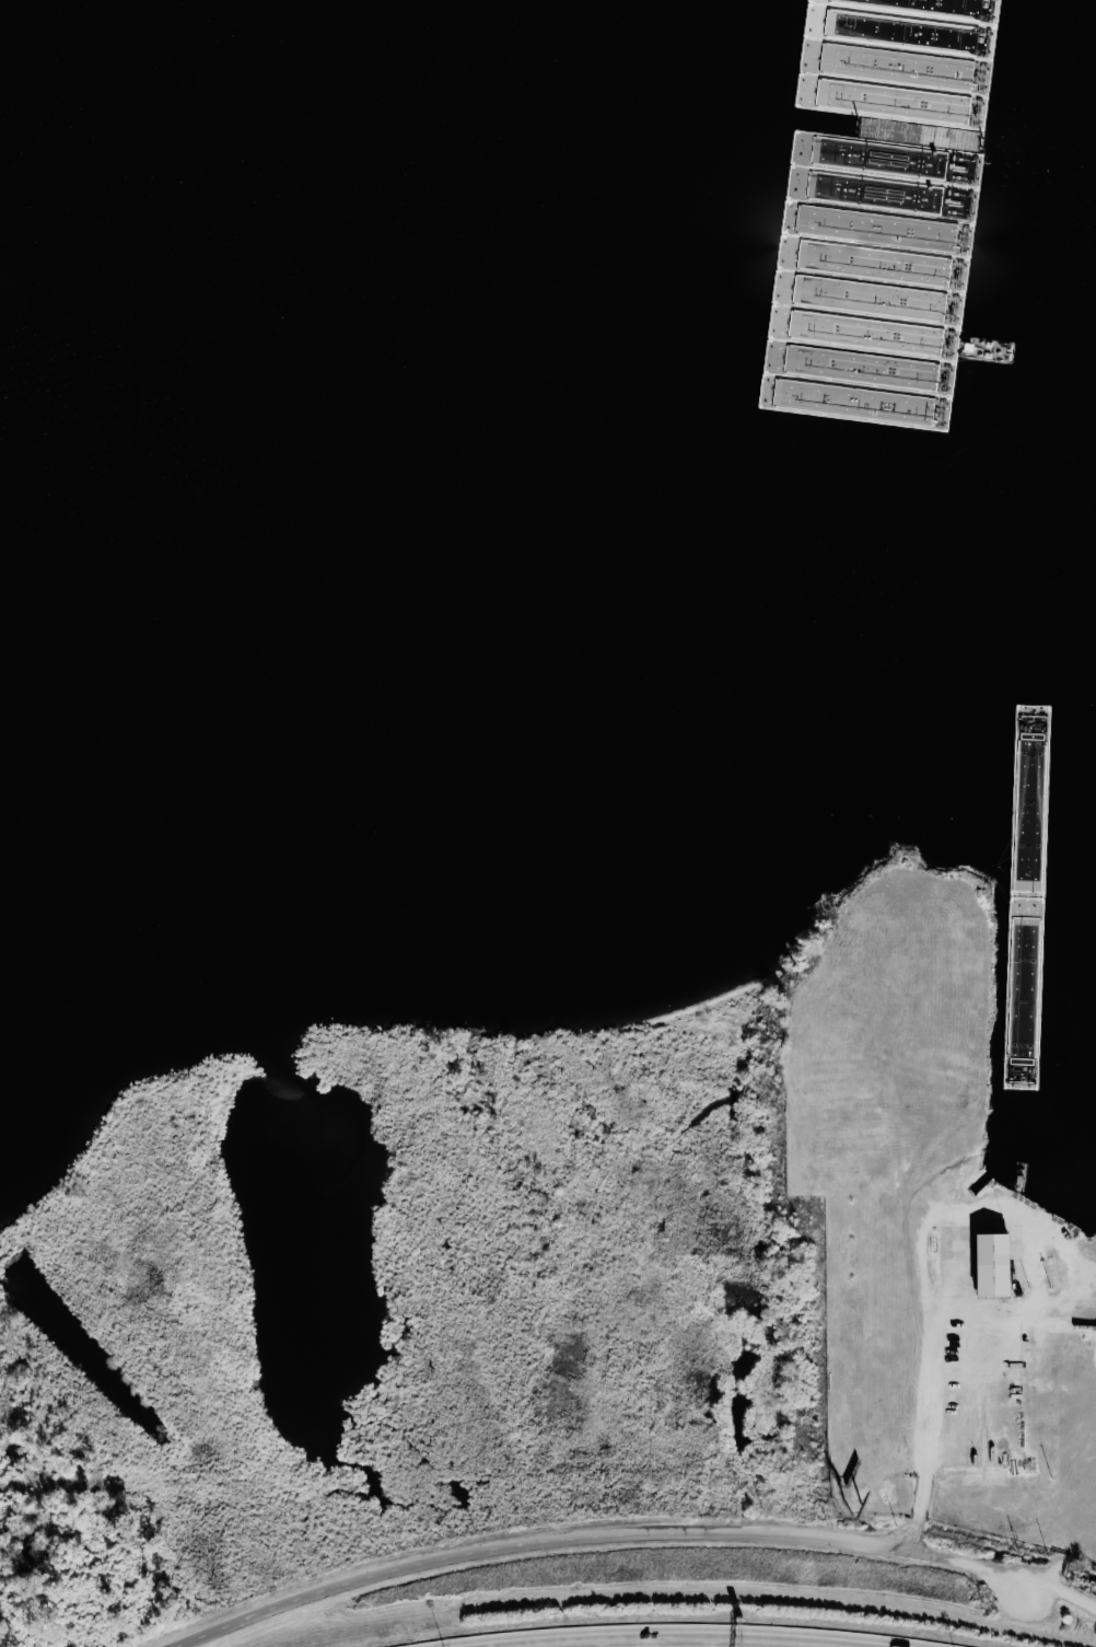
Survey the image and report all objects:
river: (856, 108)
building: (992, 1264)
road: (932, 1274)
road: (1015, 1356)
road: (636, 1540)
road: (641, 1637)

